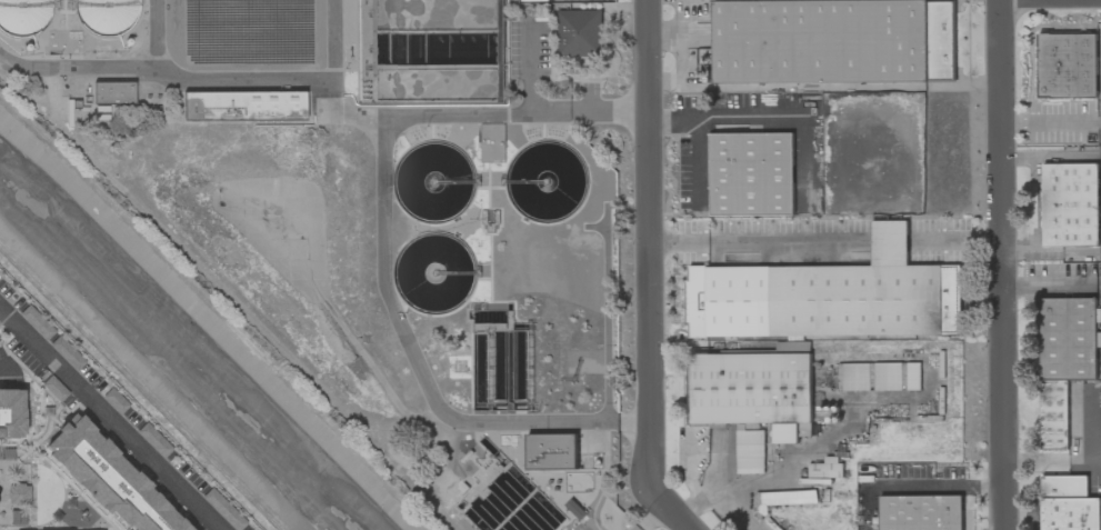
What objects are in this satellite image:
building: (23, 17)
building: (107, 17)
building: (394, 32)
building: (580, 33)
road: (665, 34)
building: (833, 41)
road: (682, 63)
building: (1068, 66)
road: (530, 70)
road: (840, 88)
building: (113, 93)
building: (242, 107)
road: (674, 118)
road: (744, 118)
road: (1048, 122)
road: (1099, 122)
road: (1050, 158)
building: (751, 174)
building: (1070, 204)
wastewater plant: (378, 214)
road: (954, 238)
road: (889, 240)
road: (759, 241)
road: (648, 242)
road: (382, 243)
road: (1050, 253)
road: (1001, 264)
building: (828, 296)
building: (1064, 360)
road: (7, 371)
building: (879, 377)
building: (751, 391)
building: (11, 412)
road: (108, 419)
building: (749, 450)
building: (552, 451)
building: (825, 468)
building: (109, 477)
road: (935, 484)
road: (721, 491)
building: (18, 494)
building: (788, 498)
building: (1068, 503)
road: (665, 507)
building: (921, 512)

